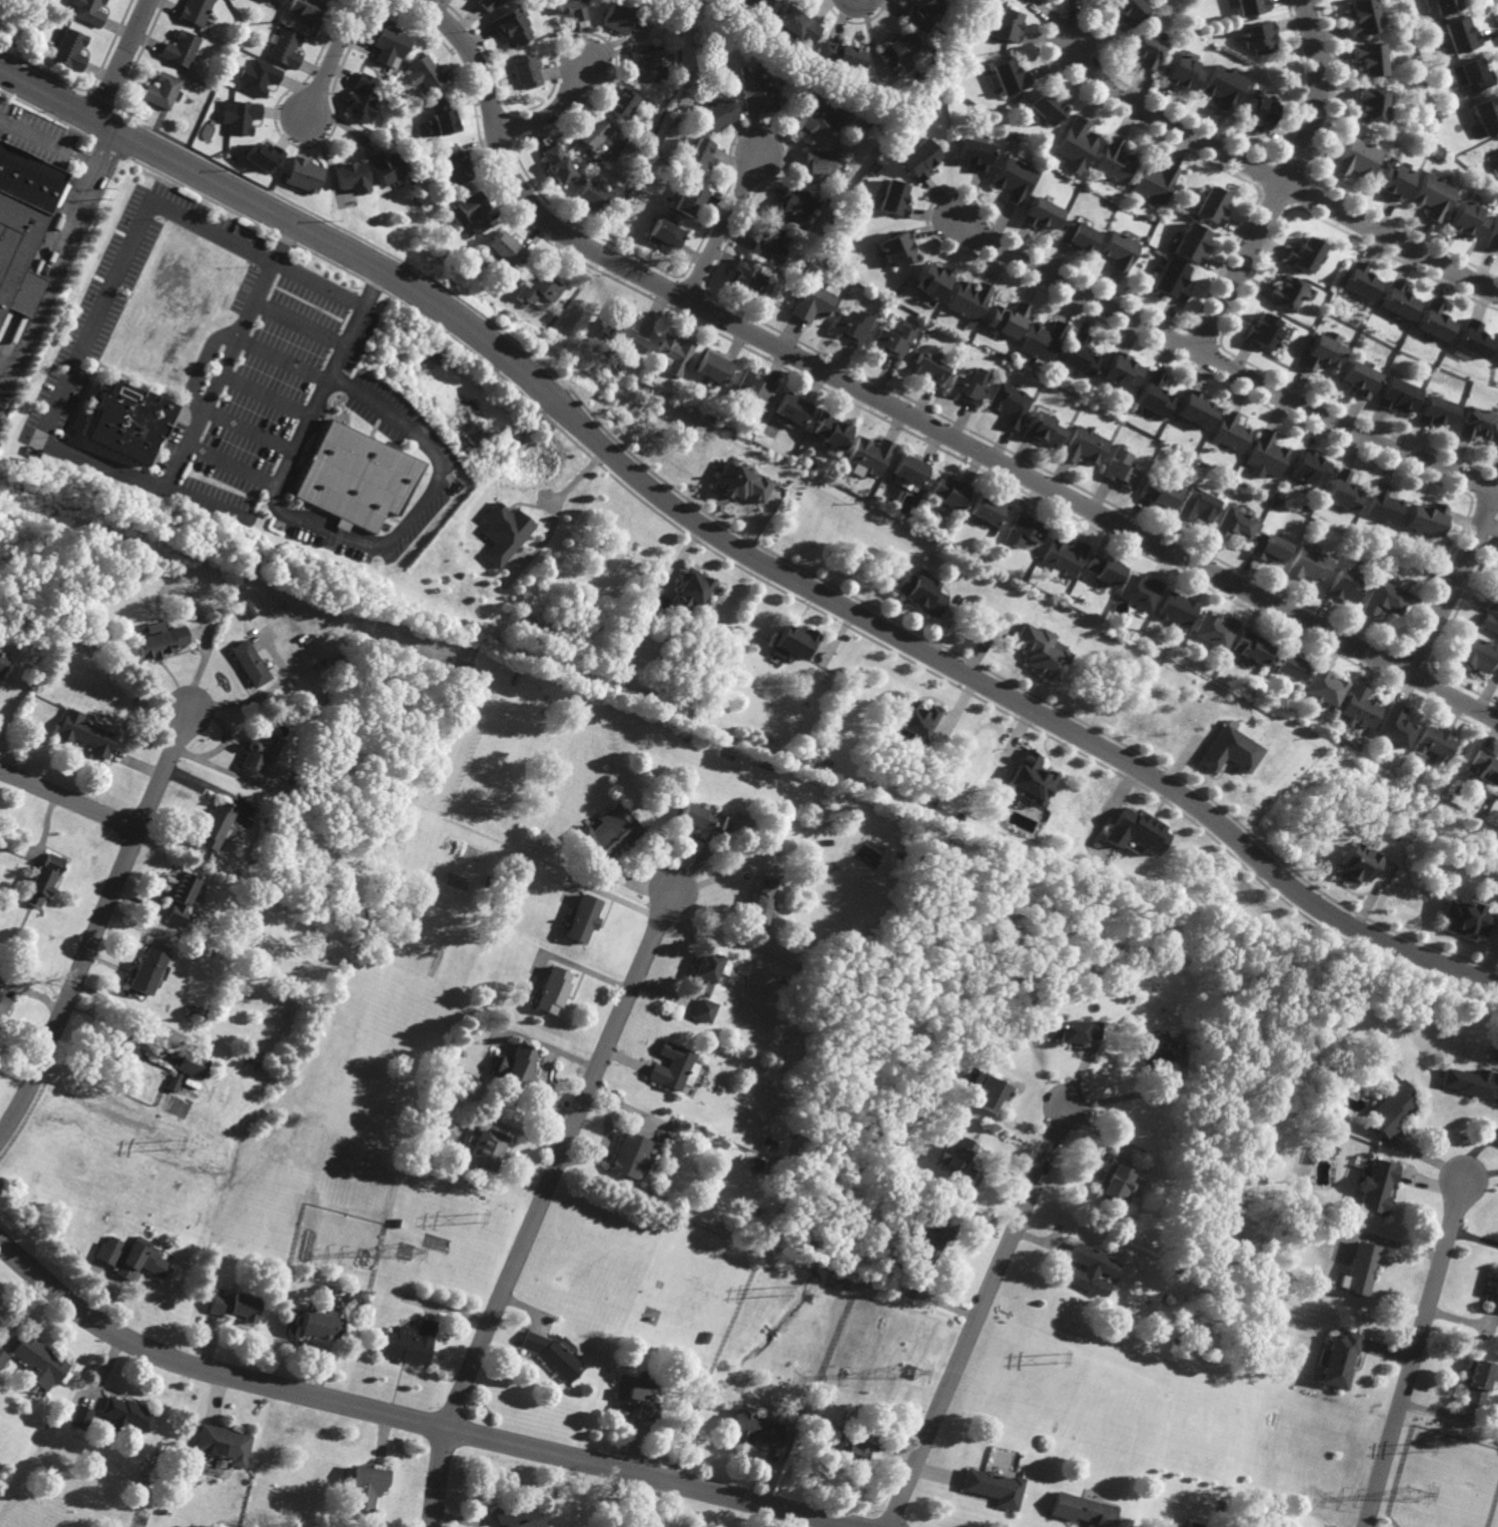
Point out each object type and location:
building: (1023, 0)
building: (277, 1)
building: (485, 4)
building: (754, 5)
building: (1428, 5)
building: (1445, 6)
building: (1250, 7)
building: (306, 8)
building: (569, 9)
building: (87, 11)
building: (194, 11)
building: (1126, 11)
building: (922, 12)
building: (615, 18)
building: (1360, 18)
building: (1007, 25)
building: (509, 27)
building: (792, 27)
building: (1460, 33)
building: (1256, 37)
building: (389, 43)
road: (126, 48)
building: (284, 48)
building: (899, 48)
building: (180, 49)
building: (69, 50)
building: (1144, 50)
building: (841, 55)
road: (331, 56)
building: (1366, 57)
building: (646, 66)
building: (524, 71)
building: (1182, 72)
building: (422, 73)
building: (1470, 74)
building: (257, 77)
building: (1010, 77)
building: (1222, 86)
building: (160, 90)
building: (756, 94)
building: (361, 96)
building: (1368, 101)
building: (620, 102)
building: (1047, 105)
road: (99, 107)
building: (1256, 110)
road: (552, 112)
building: (812, 112)
building: (1487, 113)
building: (717, 114)
building: (238, 115)
building: (439, 118)
building: (591, 132)
building: (1076, 145)
building: (974, 153)
road: (67, 155)
building: (261, 156)
building: (698, 156)
building: (918, 159)
building: (1118, 159)
building: (1351, 159)
building: (455, 163)
building: (555, 164)
building: (385, 165)
building: (821, 165)
building: (302, 174)
building: (352, 176)
road: (1273, 178)
building: (1013, 179)
building: (1391, 181)
building: (1156, 183)
road: (1287, 183)
building: (593, 196)
building: (1430, 196)
building: (689, 198)
building: (892, 198)
building: (793, 205)
building: (1212, 205)
building: (470, 212)
building: (1042, 213)
building: (1462, 219)
building: (22, 222)
road: (723, 226)
building: (664, 236)
building: (1078, 237)
building: (1492, 237)
building: (1192, 243)
building: (768, 245)
building: (896, 249)
building: (506, 250)
building: (1120, 251)
building: (1304, 256)
building: (747, 276)
road: (49, 280)
building: (932, 281)
building: (1171, 281)
building: (1360, 282)
building: (536, 289)
building: (1284, 294)
building: (969, 300)
building: (1397, 301)
building: (811, 303)
building: (1007, 319)
building: (1433, 323)
building: (852, 325)
building: (621, 329)
building: (1264, 330)
building: (895, 339)
building: (1473, 339)
building: (1041, 340)
building: (1322, 351)
building: (674, 353)
building: (1079, 355)
road: (1223, 365)
building: (715, 368)
building: (929, 368)
building: (1120, 371)
building: (1359, 379)
building: (970, 387)
building: (755, 392)
building: (1397, 395)
building: (1153, 396)
building: (1010, 405)
building: (793, 408)
building: (1193, 408)
road: (899, 411)
building: (1436, 411)
building: (127, 422)
building: (1476, 423)
building: (830, 430)
building: (1042, 430)
building: (1230, 431)
road: (58, 445)
building: (1084, 445)
building: (1497, 446)
building: (869, 455)
building: (1265, 456)
road: (229, 464)
building: (1121, 468)
building: (1307, 469)
building: (910, 470)
building: (356, 478)
building: (740, 483)
building: (949, 490)
building: (1343, 491)
building: (1158, 493)
building: (1382, 504)
building: (1197, 505)
building: (988, 510)
building: (1425, 519)
building: (1235, 524)
road: (319, 526)
building: (503, 532)
building: (1269, 546)
road: (736, 548)
building: (1064, 555)
building: (1308, 564)
building: (1105, 569)
road: (1455, 583)
building: (1345, 587)
building: (689, 591)
building: (1140, 591)
building: (919, 592)
building: (1385, 597)
building: (1176, 610)
building: (1489, 616)
building: (1214, 630)
building: (794, 642)
building: (159, 643)
building: (1250, 648)
building: (1041, 651)
building: (1474, 654)
building: (1, 658)
building: (248, 663)
building: (1290, 668)
building: (1323, 687)
building: (1357, 708)
building: (915, 718)
building: (1394, 726)
building: (83, 733)
building: (1433, 744)
building: (258, 749)
building: (1228, 749)
building: (1485, 766)
building: (1030, 779)
road: (69, 802)
building: (700, 820)
building: (214, 825)
building: (1134, 831)
building: (608, 833)
building: (1356, 865)
building: (41, 881)
building: (180, 898)
building: (761, 900)
building: (773, 911)
building: (1464, 917)
building: (584, 918)
road: (99, 927)
building: (144, 971)
building: (704, 973)
building: (554, 990)
building: (2, 1004)
building: (704, 1010)
building: (1070, 1030)
building: (126, 1046)
building: (1152, 1051)
building: (516, 1064)
building: (191, 1065)
building: (671, 1066)
building: (690, 1073)
building: (173, 1082)
building: (1471, 1083)
building: (989, 1091)
building: (1391, 1110)
road: (1009, 1125)
building: (489, 1149)
building: (630, 1156)
building: (963, 1161)
building: (1113, 1180)
building: (1375, 1186)
road: (543, 1203)
power tower: (471, 1222)
building: (932, 1239)
power tower: (405, 1252)
building: (130, 1257)
building: (1089, 1269)
building: (1359, 1269)
power tower: (778, 1291)
building: (1494, 1295)
building: (235, 1306)
road: (982, 1316)
building: (322, 1324)
building: (410, 1342)
road: (1415, 1353)
building: (552, 1355)
power tower: (1060, 1355)
building: (2, 1358)
building: (1339, 1359)
building: (38, 1362)
power tower: (905, 1371)
building: (1477, 1380)
building: (636, 1397)
building: (127, 1414)
building: (80, 1417)
road: (401, 1419)
building: (753, 1429)
building: (224, 1444)
building: (852, 1448)
power tower: (1422, 1448)
building: (366, 1487)
building: (993, 1487)
power tower: (1411, 1494)
building: (1083, 1510)
building: (518, 1517)
building: (1169, 1525)

